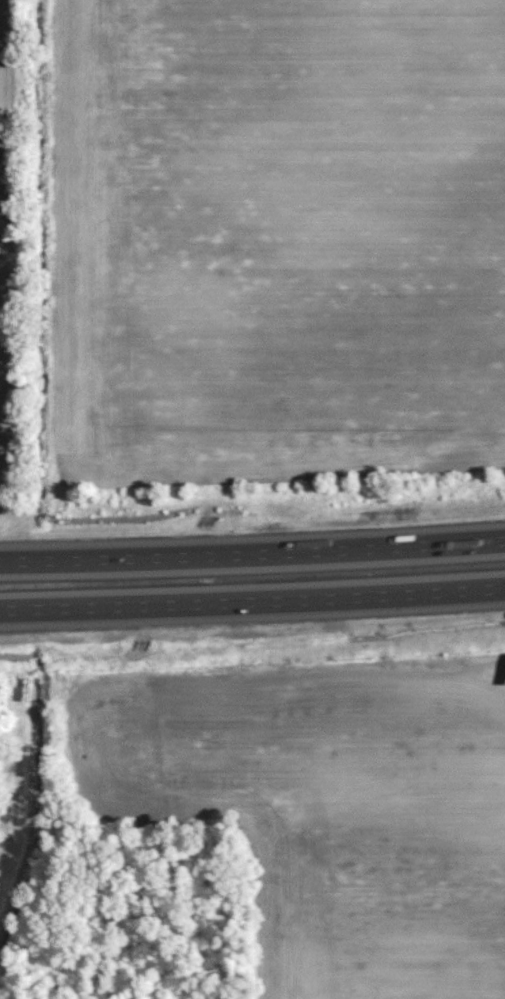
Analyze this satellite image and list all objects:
road: (252, 550)
road: (252, 606)

